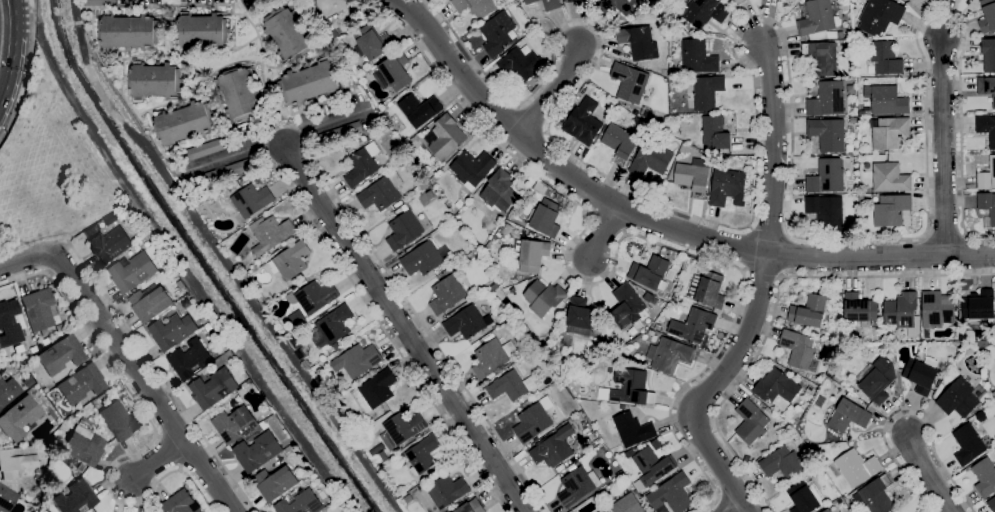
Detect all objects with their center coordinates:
building: (573, 0)
building: (530, 1)
building: (98, 2)
building: (738, 2)
building: (917, 2)
building: (551, 4)
building: (619, 6)
building: (476, 7)
building: (702, 11)
building: (881, 14)
building: (987, 15)
road: (17, 17)
road: (769, 18)
building: (816, 19)
building: (202, 30)
building: (129, 31)
building: (288, 33)
building: (840, 34)
building: (495, 36)
building: (372, 41)
building: (638, 41)
building: (988, 54)
building: (822, 56)
building: (698, 57)
building: (884, 57)
building: (517, 65)
road: (14, 67)
road: (26, 71)
building: (396, 71)
building: (155, 80)
building: (310, 82)
building: (630, 82)
building: (986, 86)
road: (553, 89)
building: (708, 91)
building: (239, 93)
road: (3, 97)
traffic signals: (6, 99)
building: (827, 99)
building: (888, 100)
building: (390, 104)
road: (3, 106)
building: (420, 108)
building: (583, 121)
building: (185, 122)
road: (285, 125)
building: (987, 127)
building: (674, 129)
road: (520, 130)
building: (715, 132)
building: (890, 132)
building: (341, 133)
building: (828, 133)
building: (445, 136)
building: (369, 138)
building: (360, 139)
road: (281, 140)
building: (621, 141)
road: (772, 144)
road: (944, 146)
building: (206, 148)
building: (351, 149)
building: (651, 159)
building: (362, 164)
building: (243, 166)
building: (472, 167)
building: (828, 175)
building: (210, 176)
building: (987, 176)
building: (890, 177)
building: (692, 178)
building: (728, 187)
building: (418, 190)
building: (499, 191)
building: (382, 192)
building: (861, 196)
building: (559, 197)
building: (252, 200)
building: (459, 204)
building: (987, 204)
building: (891, 209)
building: (826, 210)
building: (547, 217)
building: (404, 229)
building: (506, 229)
building: (91, 230)
building: (270, 234)
building: (109, 244)
building: (531, 253)
road: (802, 254)
building: (425, 258)
building: (291, 260)
road: (614, 261)
road: (26, 262)
building: (133, 271)
building: (650, 273)
road: (762, 273)
building: (493, 286)
building: (708, 289)
building: (513, 290)
building: (447, 293)
building: (316, 296)
building: (544, 297)
building: (150, 303)
road: (773, 304)
building: (979, 305)
building: (628, 306)
building: (860, 308)
building: (937, 308)
building: (38, 309)
building: (901, 310)
building: (810, 311)
building: (503, 313)
building: (583, 314)
building: (468, 322)
building: (9, 324)
building: (335, 324)
building: (693, 325)
road: (403, 326)
building: (657, 326)
building: (58, 328)
building: (173, 330)
building: (961, 330)
building: (44, 342)
building: (798, 348)
building: (32, 349)
building: (300, 354)
building: (670, 354)
building: (60, 355)
building: (493, 357)
building: (190, 359)
building: (356, 360)
building: (921, 374)
road: (161, 376)
building: (877, 379)
building: (27, 382)
road: (144, 382)
building: (80, 384)
building: (511, 385)
road: (712, 385)
building: (632, 387)
building: (213, 388)
building: (777, 388)
building: (44, 389)
building: (375, 390)
building: (811, 390)
building: (7, 392)
building: (958, 398)
road: (908, 408)
building: (767, 409)
building: (849, 415)
building: (577, 416)
building: (18, 418)
building: (534, 420)
building: (118, 421)
building: (751, 422)
building: (234, 424)
road: (153, 426)
building: (402, 428)
building: (630, 428)
building: (418, 436)
building: (83, 443)
building: (968, 444)
building: (553, 447)
building: (257, 451)
building: (629, 453)
building: (383, 454)
building: (422, 454)
building: (15, 461)
road: (159, 461)
building: (782, 463)
building: (653, 465)
building: (857, 467)
building: (79, 468)
road: (931, 476)
building: (985, 476)
building: (275, 482)
building: (575, 485)
building: (447, 490)
building: (672, 493)
building: (874, 495)
building: (805, 497)
building: (6, 498)
building: (74, 498)
building: (408, 498)
building: (180, 503)
building: (300, 503)
building: (628, 503)
building: (991, 503)
building: (468, 506)
road: (736, 507)
building: (664, 509)
building: (827, 510)
building: (598, 511)

